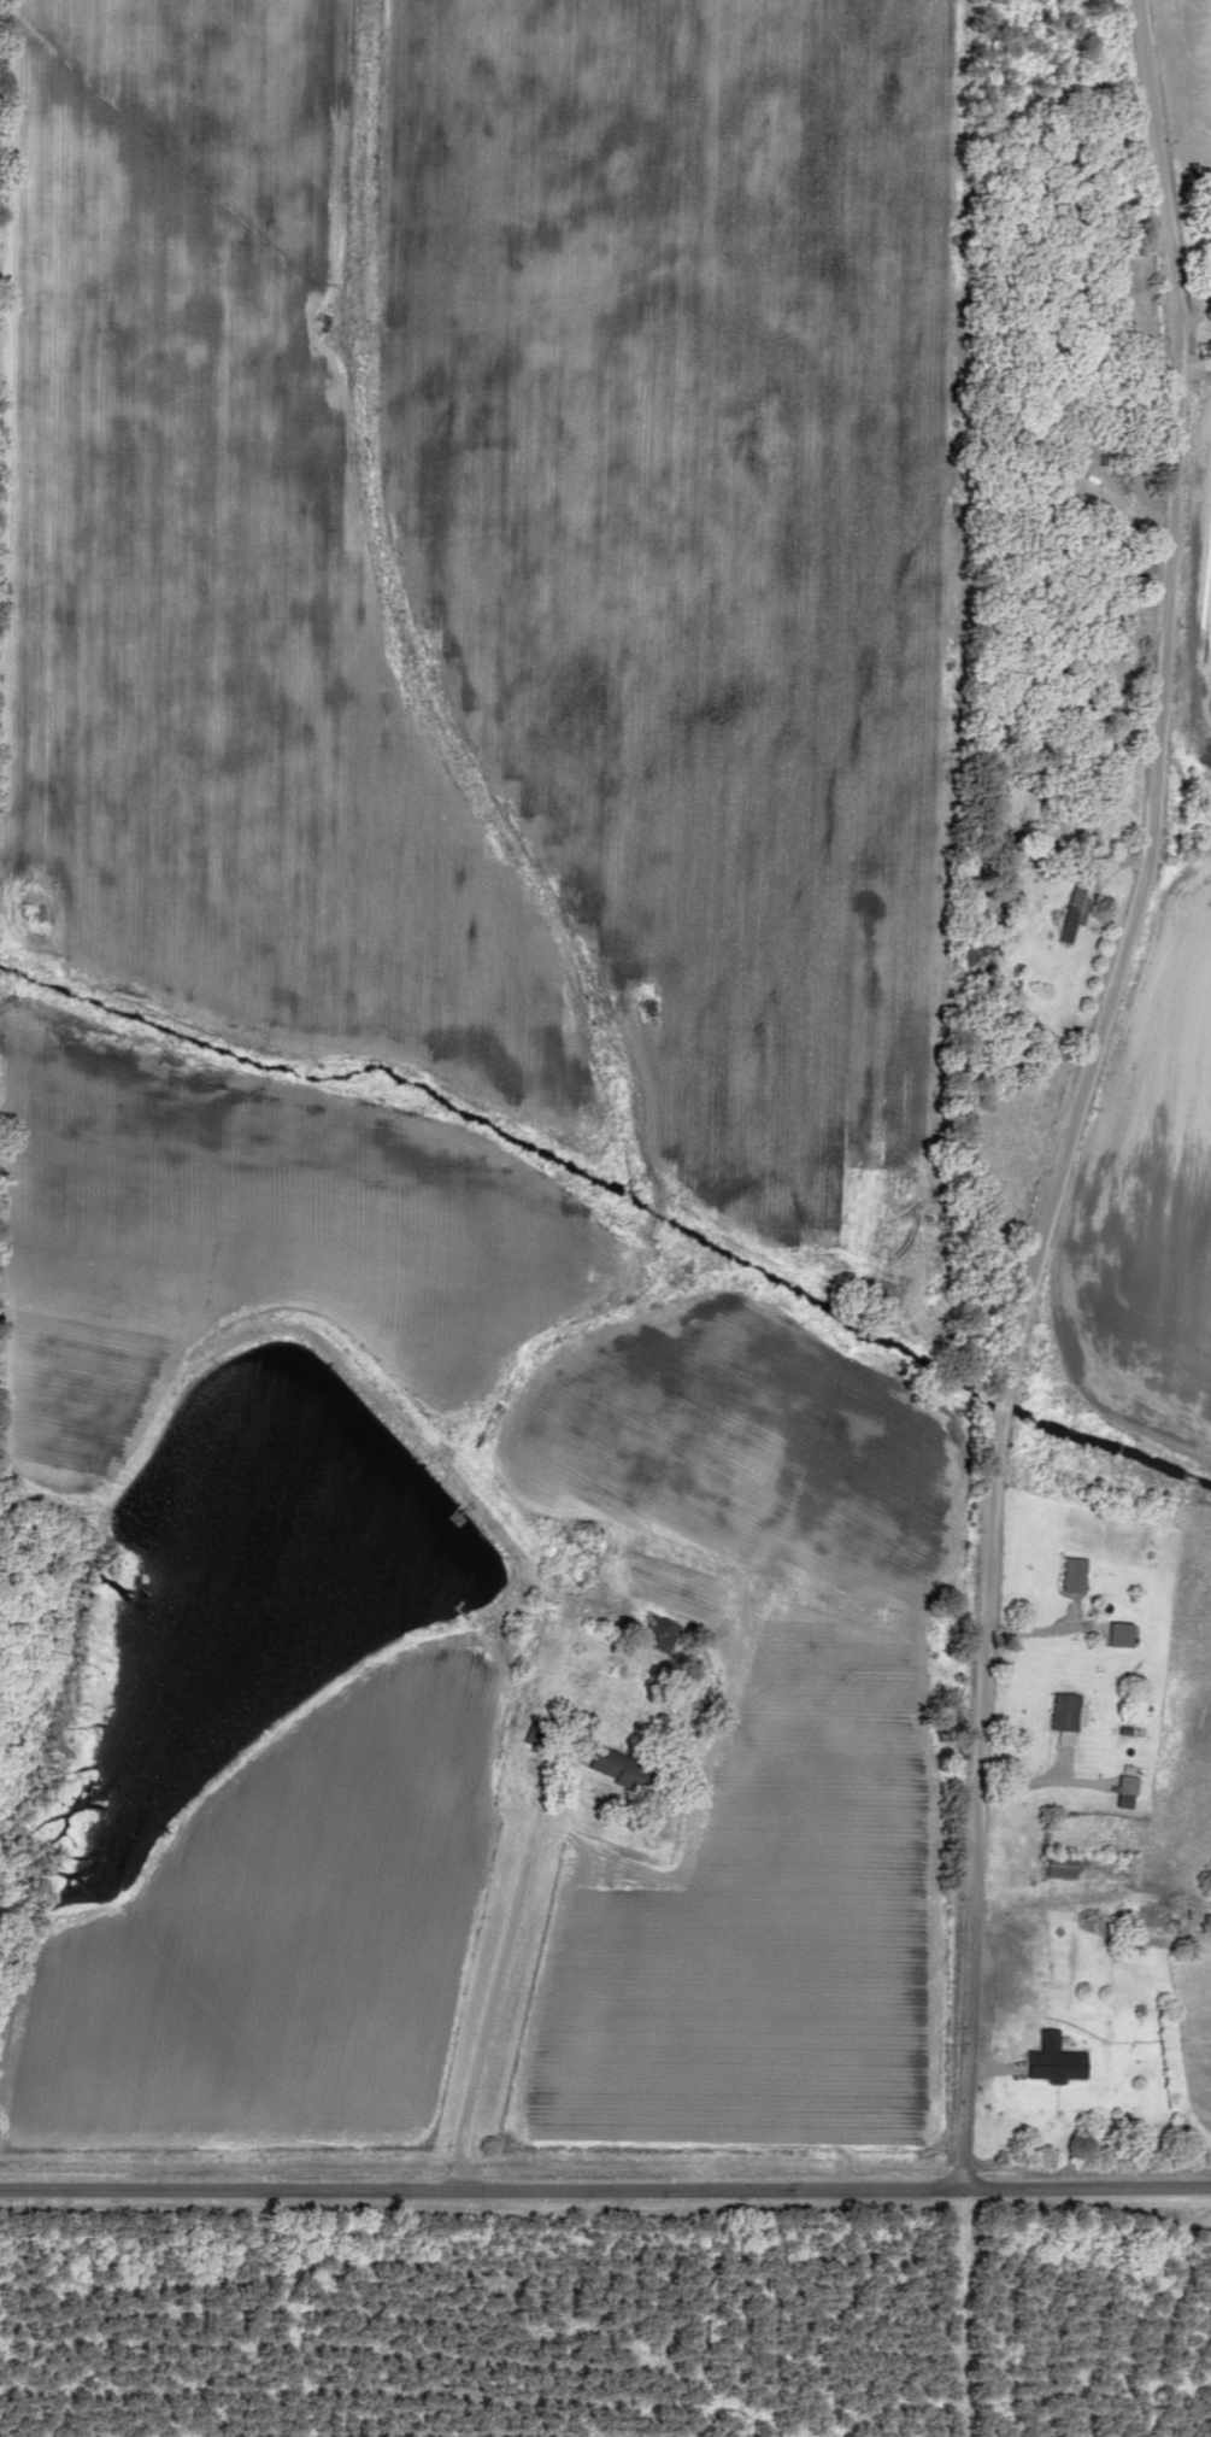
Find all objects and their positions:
building: (1071, 915)
road: (1099, 1086)
building: (1071, 1576)
building: (1118, 1635)
building: (664, 1638)
building: (1064, 1718)
building: (1059, 1867)
building: (1164, 1918)
road: (495, 1961)
building: (1052, 2061)
road: (605, 2172)

